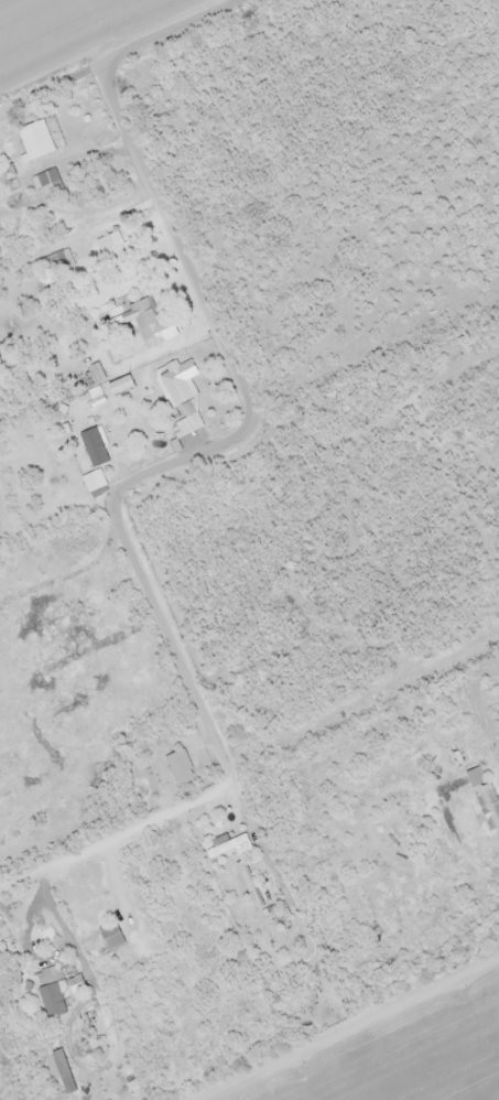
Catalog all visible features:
road: (129, 62)
building: (34, 142)
building: (6, 173)
building: (50, 184)
building: (116, 258)
building: (58, 262)
road: (216, 312)
building: (151, 322)
building: (181, 399)
road: (61, 499)
road: (228, 754)
building: (181, 769)
building: (474, 777)
building: (488, 809)
building: (229, 848)
road: (270, 855)
building: (248, 885)
building: (197, 928)
building: (110, 937)
road: (66, 971)
building: (50, 1001)
road: (349, 1029)

